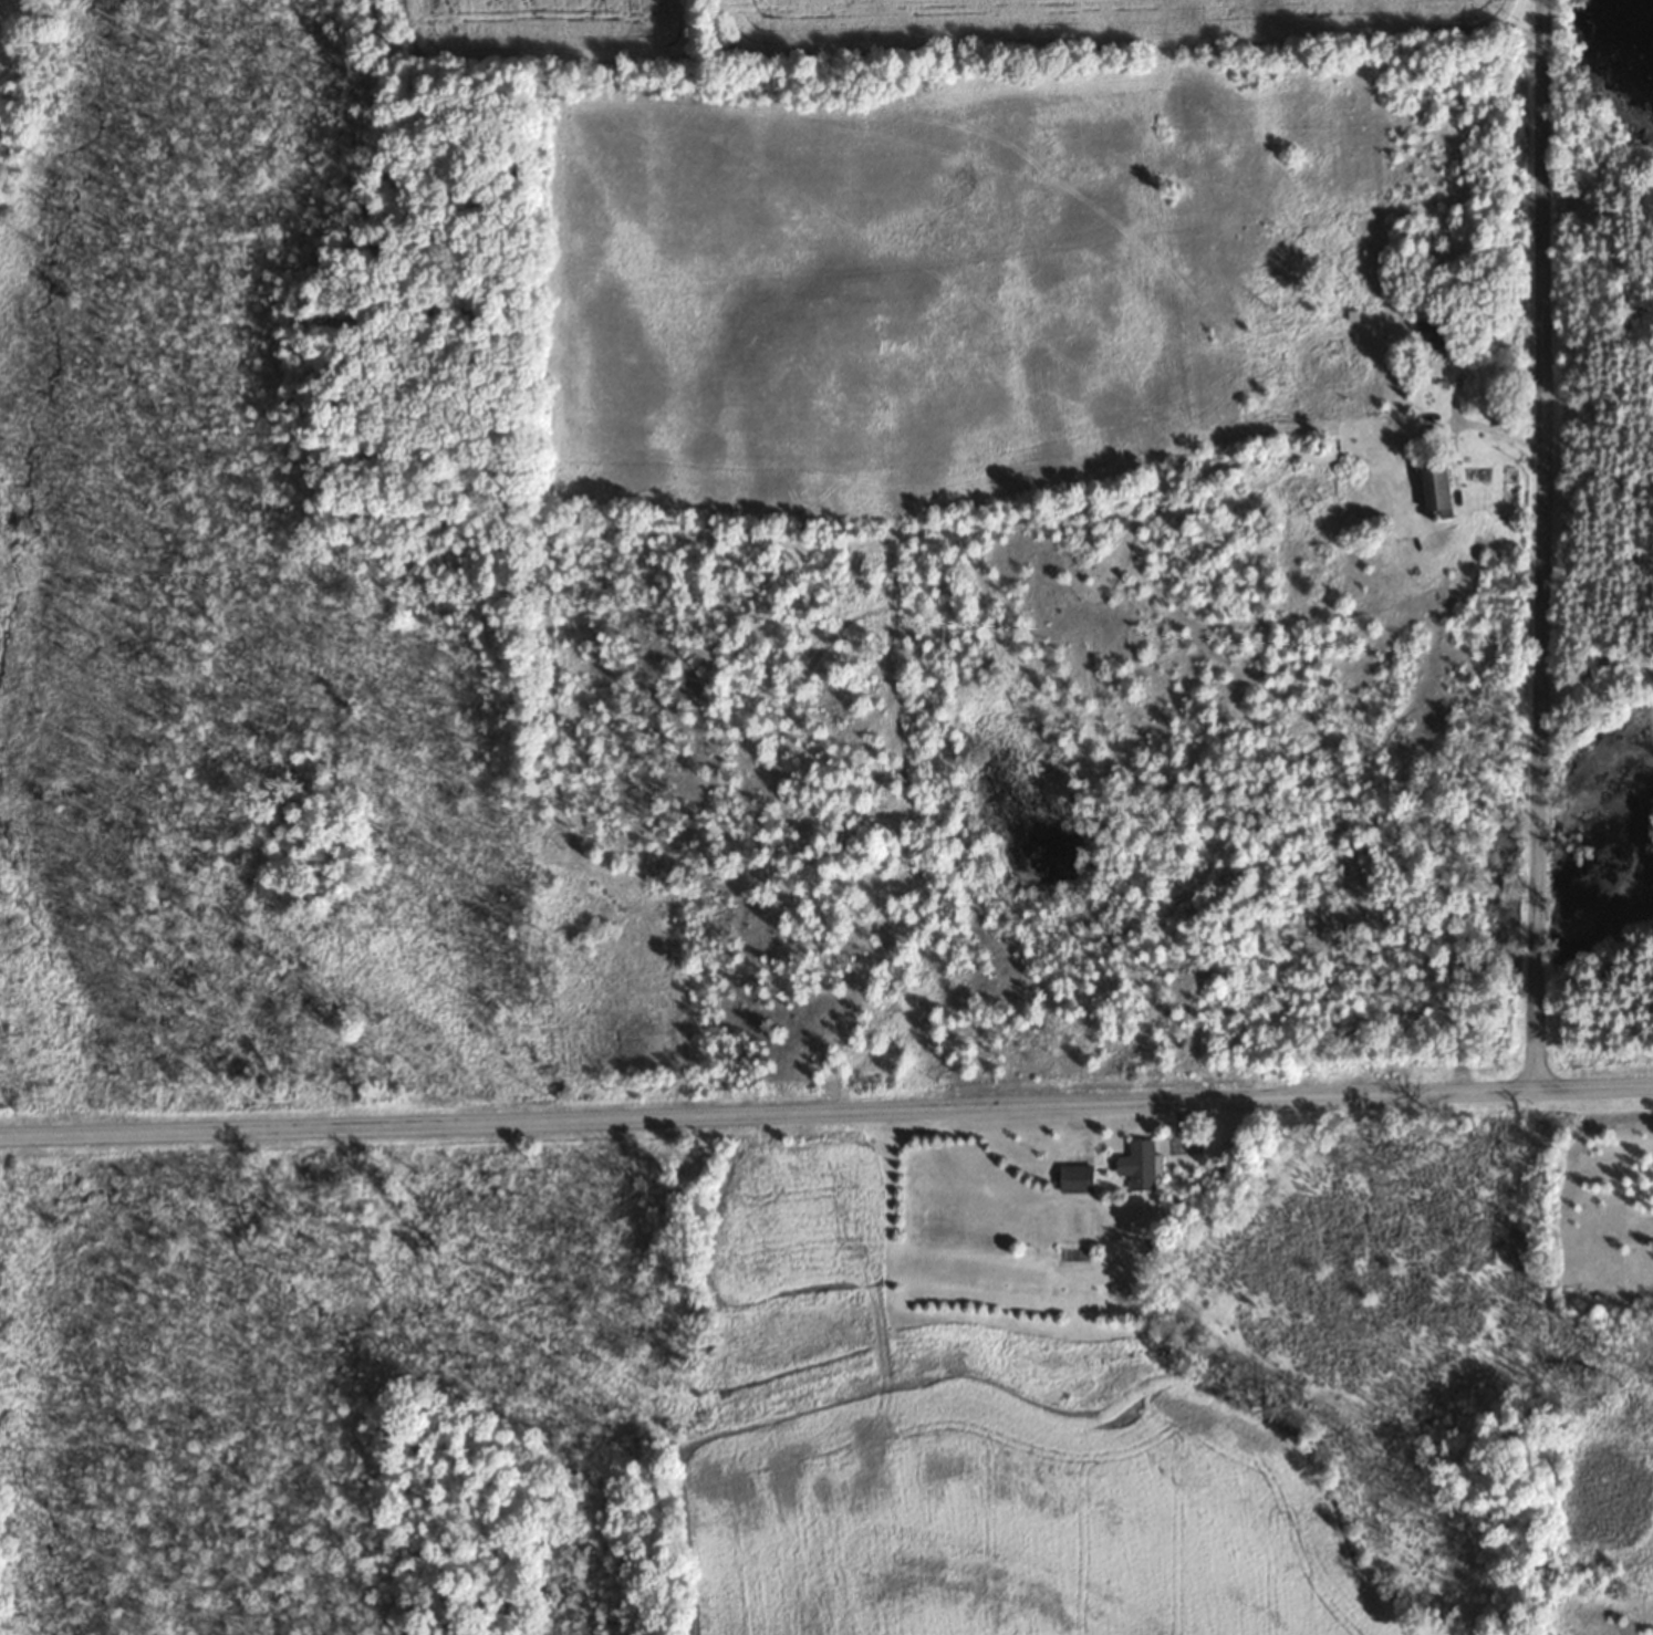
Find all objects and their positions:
building: (1435, 332)
building: (1428, 489)
road: (1541, 545)
road: (826, 1115)
building: (1137, 1164)
building: (1069, 1178)

